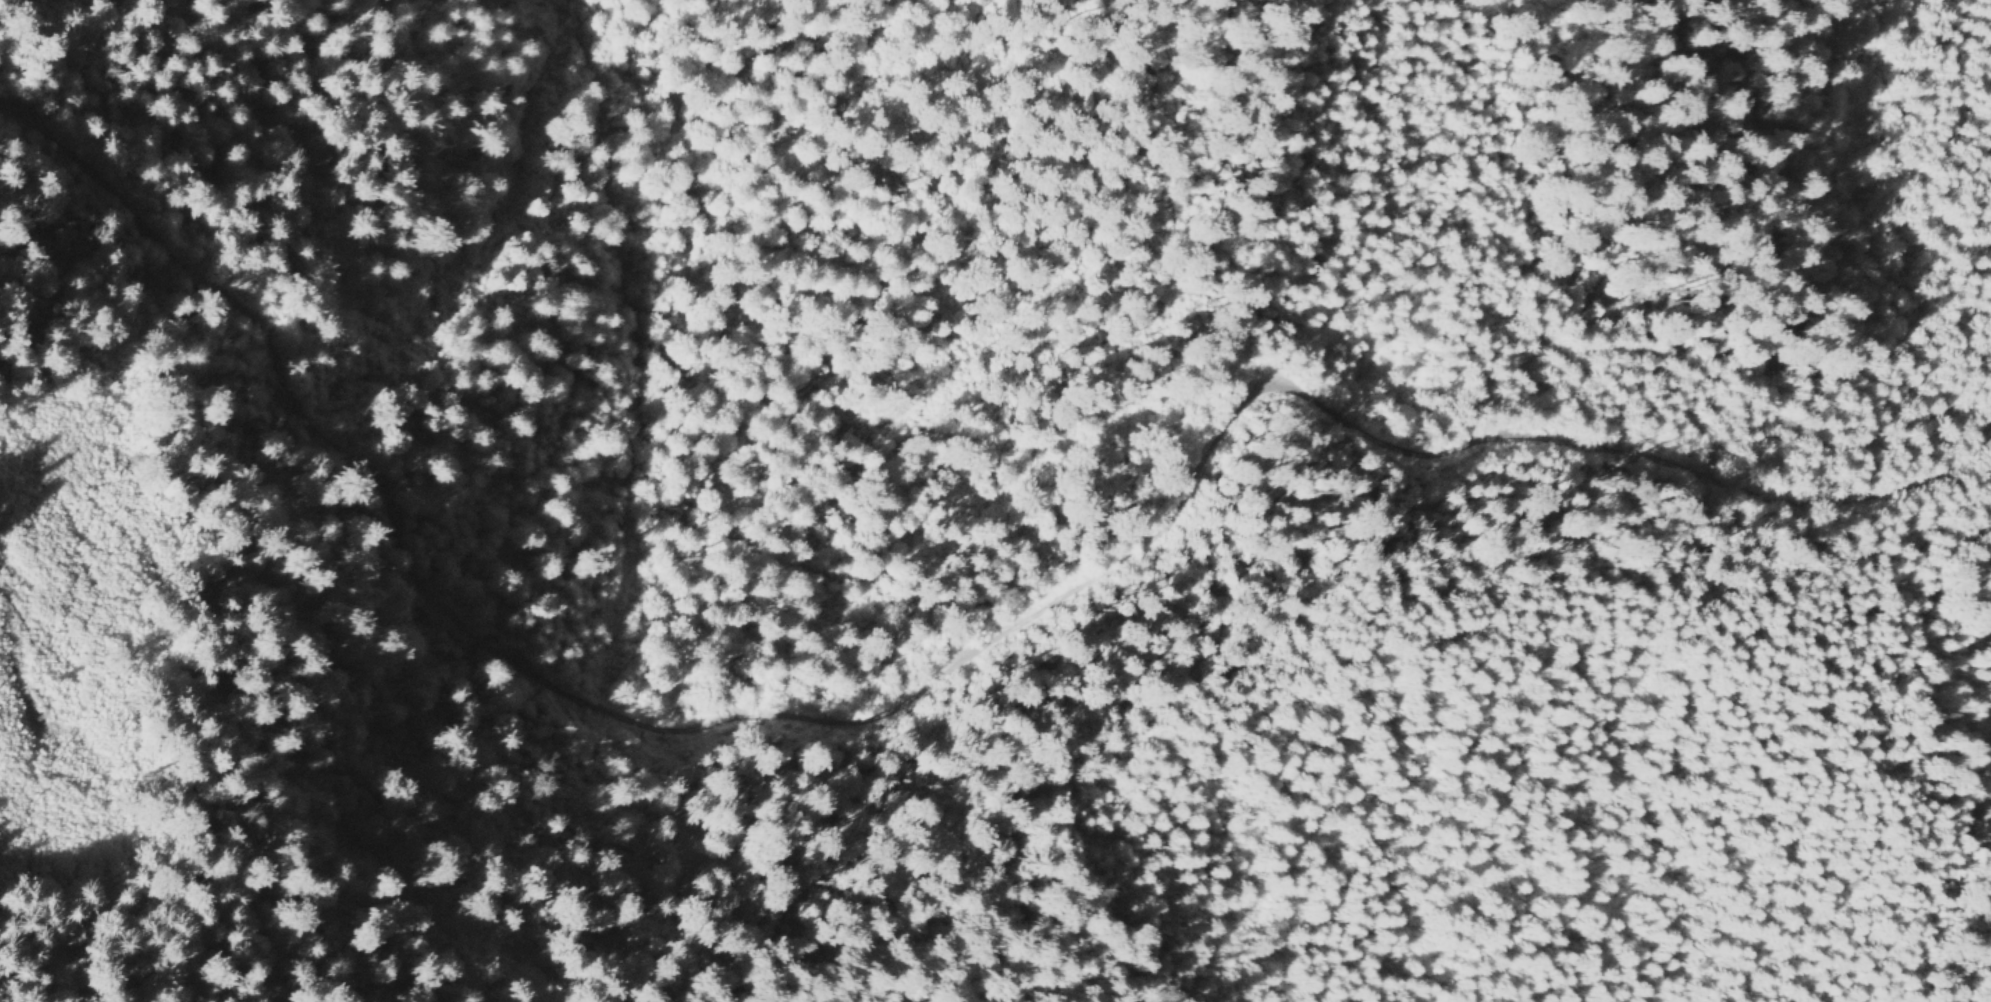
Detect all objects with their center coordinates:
road: (1983, 426)
road: (1774, 431)
road: (1289, 508)
road: (930, 691)

